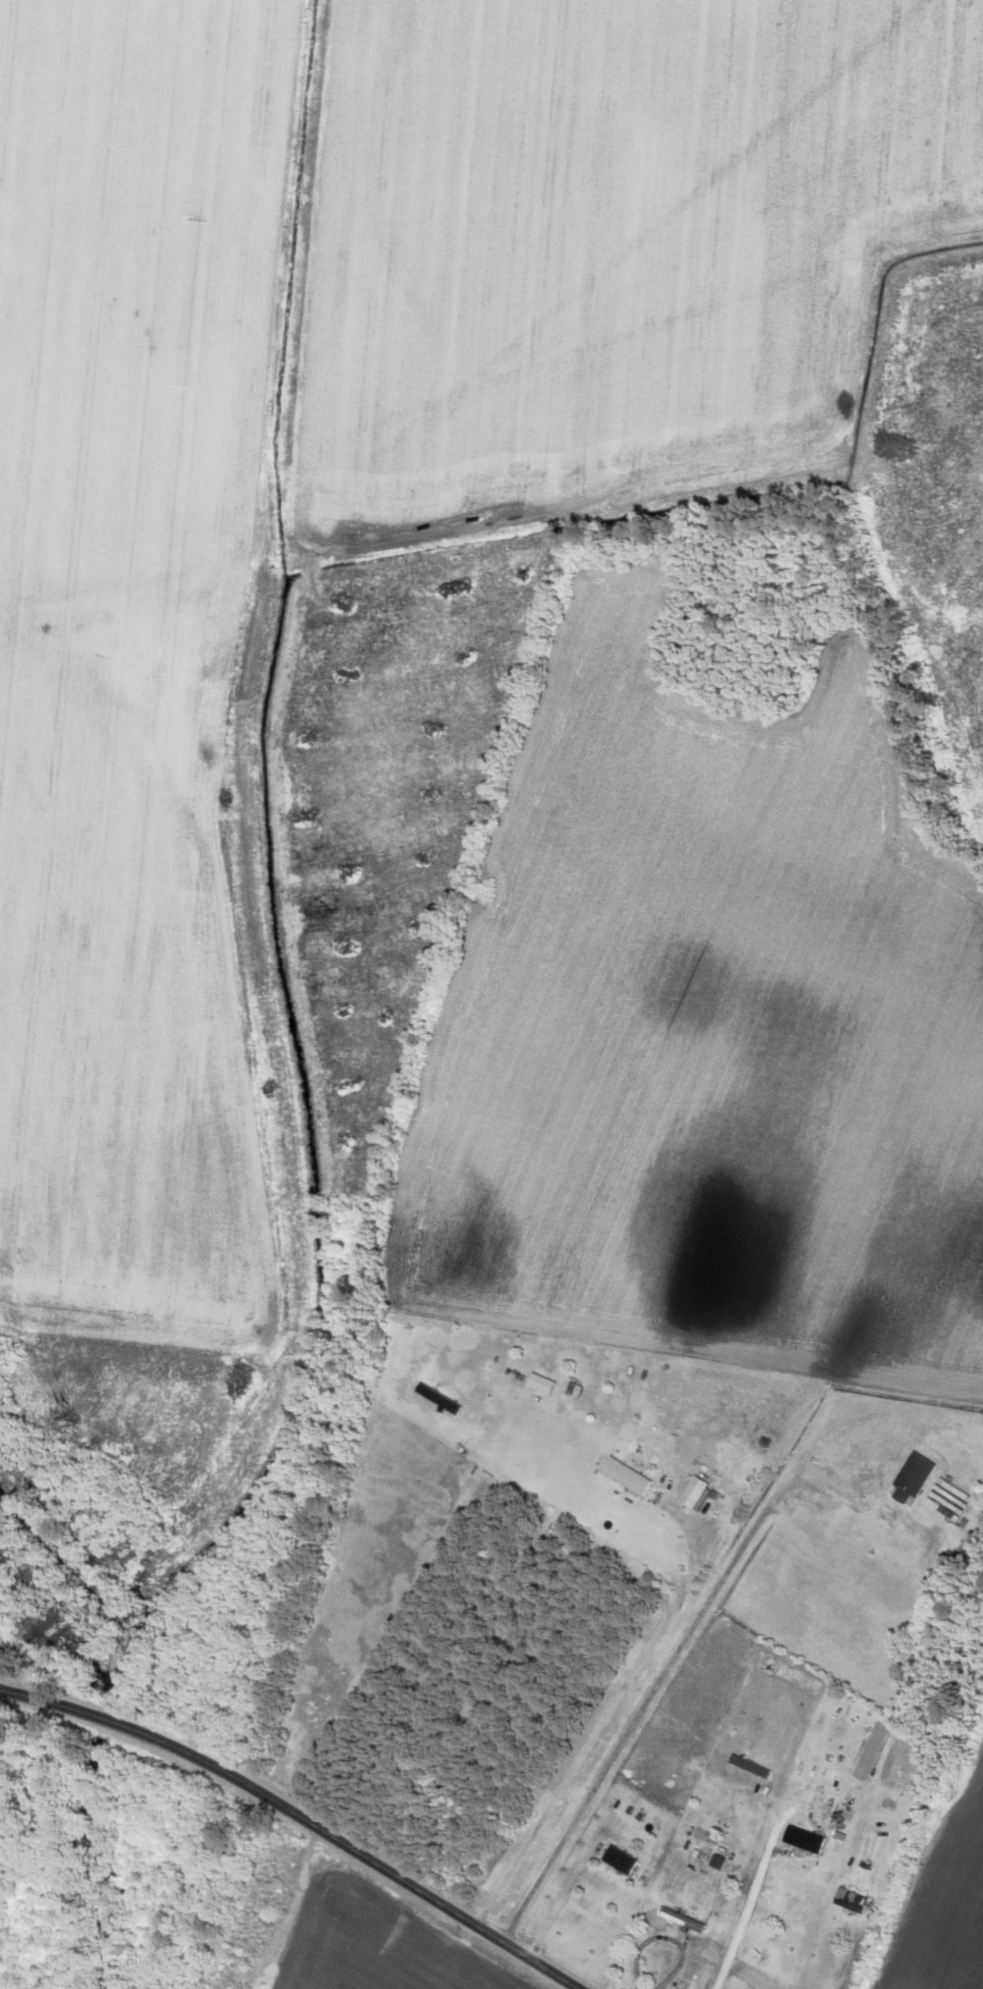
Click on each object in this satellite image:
building: (538, 1385)
building: (623, 1478)
building: (909, 1479)
building: (946, 1501)
building: (840, 1533)
road: (596, 1730)
road: (143, 1736)
building: (801, 1841)
building: (617, 1861)
road: (427, 1897)
building: (848, 1901)
road: (745, 1916)
building: (679, 1921)
building: (227, 1954)

